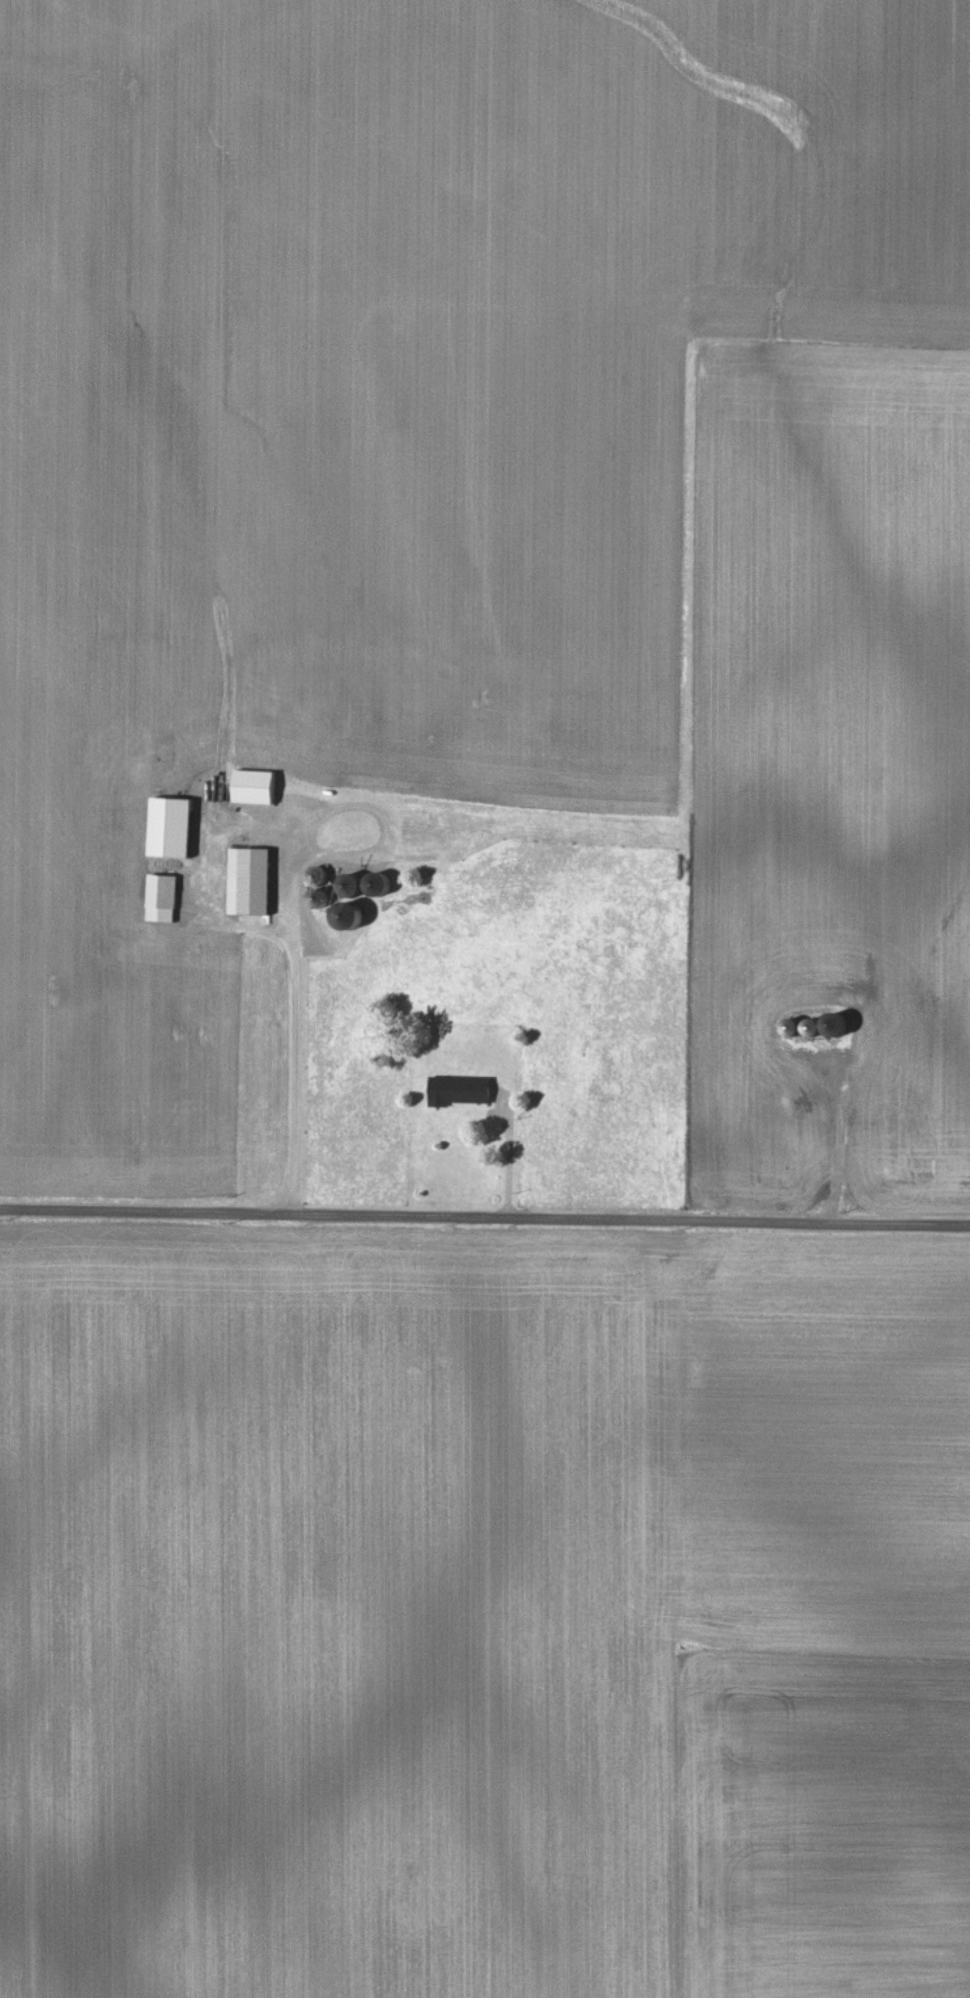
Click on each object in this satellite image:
building: (168, 826)
building: (247, 880)
road: (291, 904)
building: (457, 1090)
road: (509, 1153)
road: (484, 1218)

